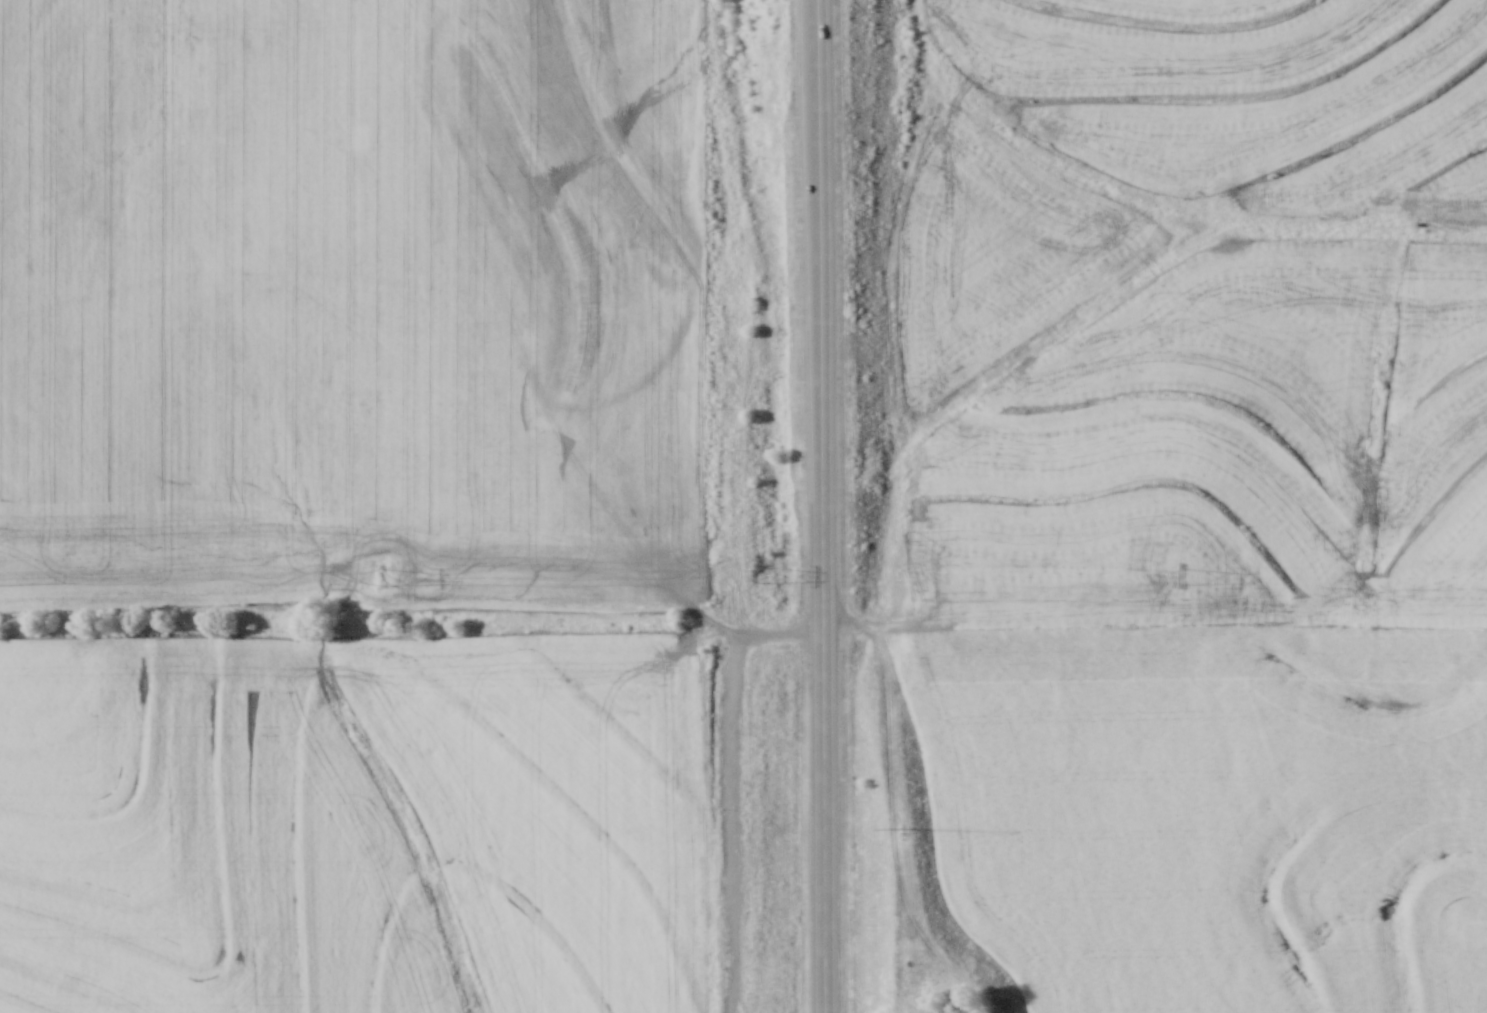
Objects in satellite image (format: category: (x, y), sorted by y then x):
road: (822, 506)
power tower: (763, 572)
power tower: (375, 573)
power tower: (1192, 574)
road: (730, 780)

